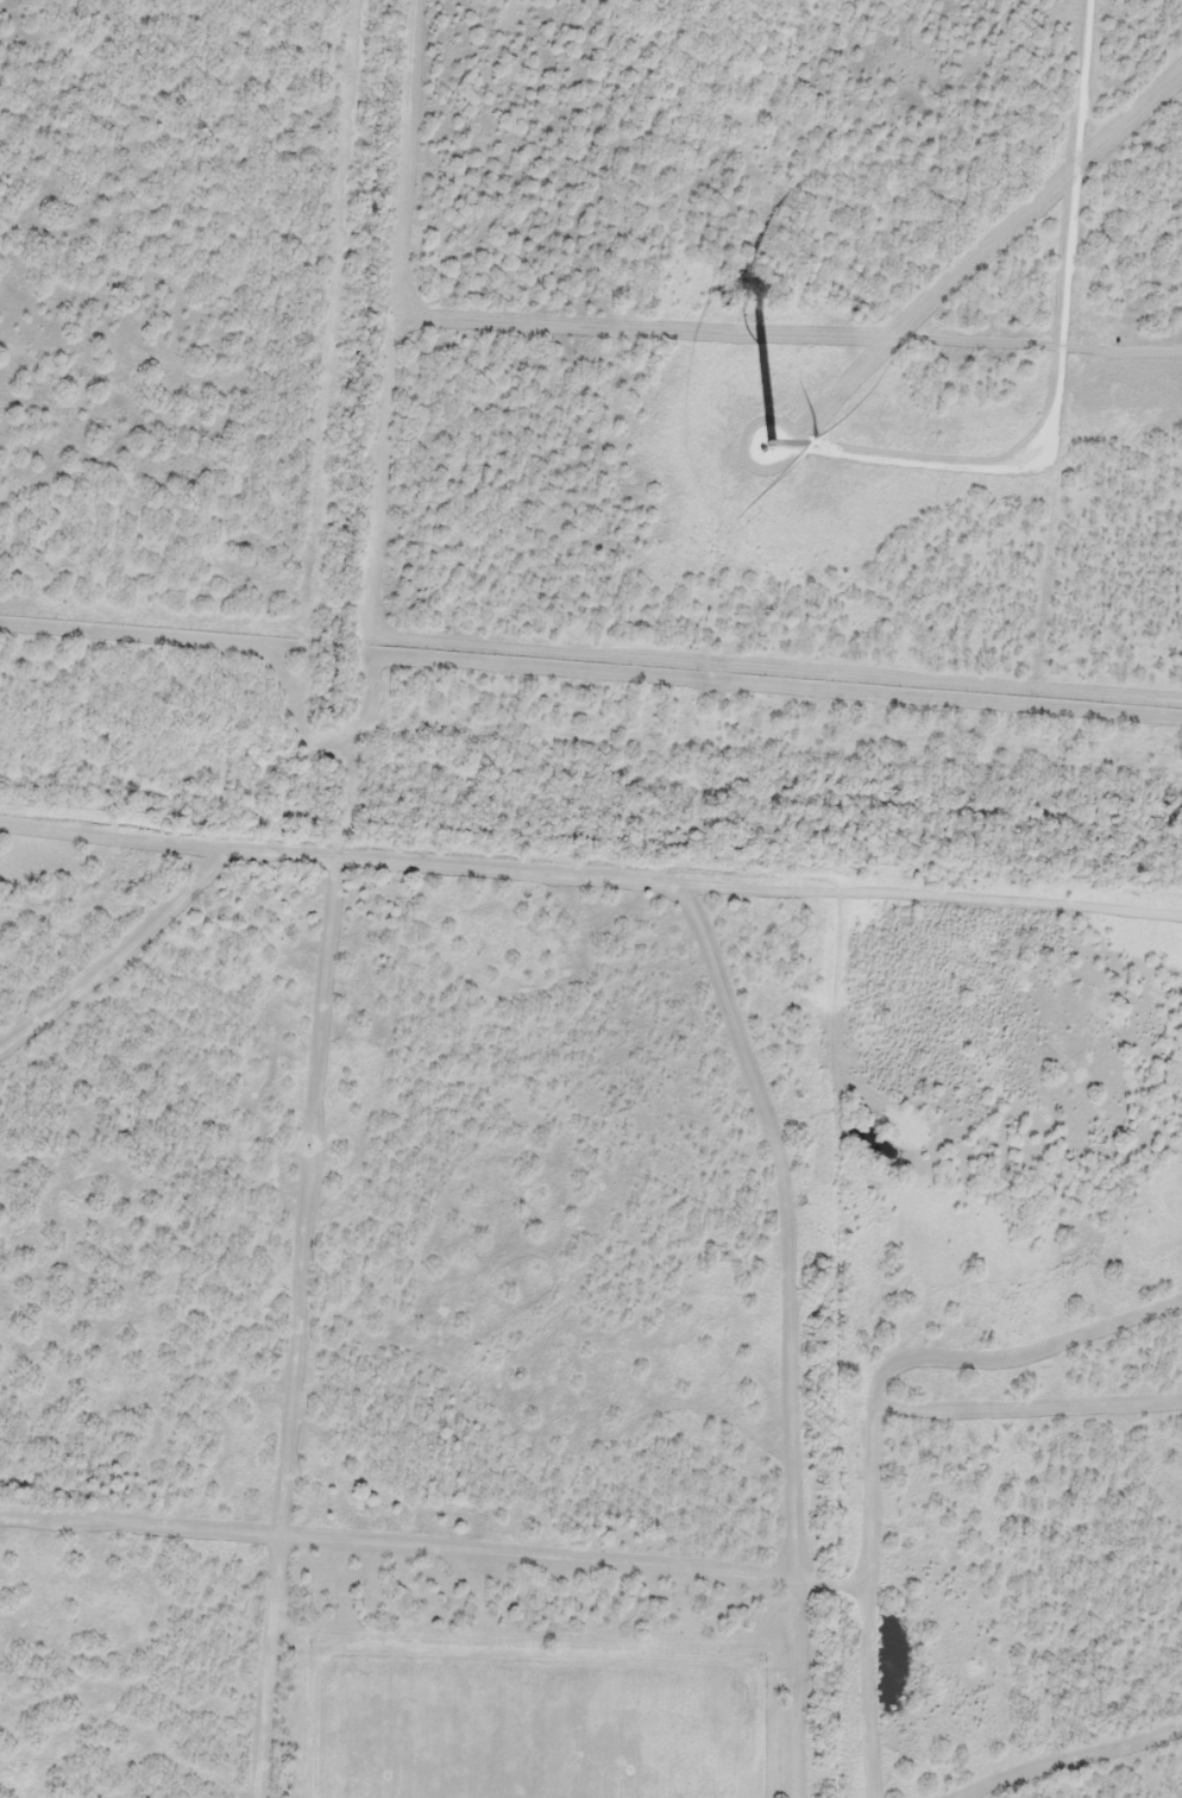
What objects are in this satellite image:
wind turbine: (773, 447)
road: (445, 667)

